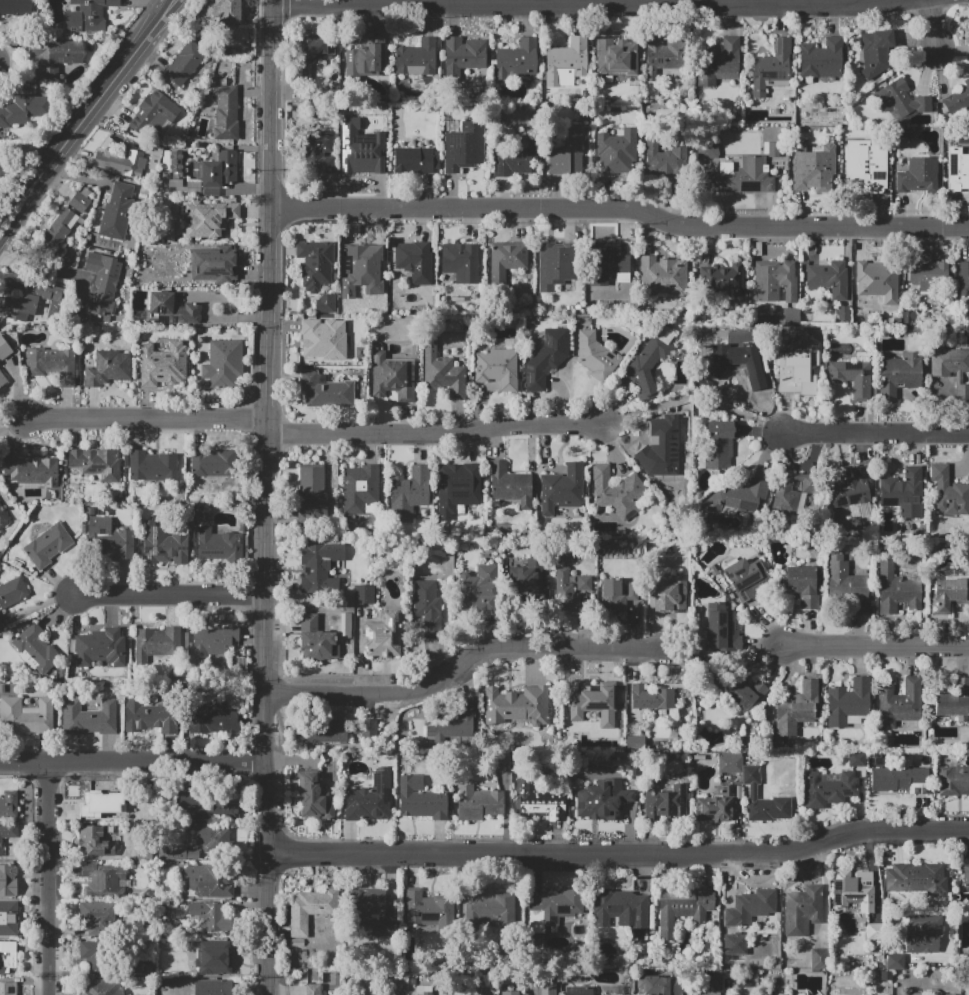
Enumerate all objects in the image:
road: (271, 1)
road: (575, 2)
building: (16, 7)
building: (222, 11)
building: (87, 15)
road: (164, 22)
road: (933, 24)
building: (316, 49)
building: (55, 56)
building: (463, 56)
building: (615, 56)
building: (664, 56)
building: (365, 58)
building: (416, 58)
building: (822, 58)
building: (516, 60)
building: (718, 61)
building: (185, 63)
building: (566, 63)
building: (771, 68)
building: (958, 99)
building: (901, 100)
building: (23, 109)
building: (159, 110)
building: (226, 111)
road: (73, 139)
building: (462, 145)
building: (361, 147)
building: (706, 149)
building: (771, 149)
building: (616, 151)
building: (319, 152)
building: (569, 154)
building: (154, 156)
building: (513, 158)
building: (666, 159)
building: (121, 160)
building: (415, 160)
building: (868, 162)
building: (173, 166)
building: (813, 167)
building: (2, 169)
building: (217, 169)
building: (957, 170)
building: (918, 176)
building: (742, 177)
building: (193, 188)
building: (79, 202)
road: (620, 210)
building: (116, 211)
road: (269, 214)
building: (209, 218)
building: (58, 232)
building: (363, 257)
building: (506, 260)
building: (461, 261)
building: (415, 262)
building: (608, 263)
building: (315, 264)
building: (555, 265)
building: (214, 267)
road: (40, 269)
building: (875, 275)
building: (663, 276)
building: (930, 276)
building: (722, 277)
building: (829, 279)
building: (964, 279)
building: (775, 280)
building: (102, 282)
building: (44, 291)
building: (352, 297)
building: (325, 304)
building: (15, 308)
building: (171, 310)
building: (857, 312)
building: (843, 313)
building: (790, 316)
building: (323, 339)
building: (4, 349)
building: (596, 356)
building: (545, 357)
building: (650, 359)
building: (223, 363)
building: (52, 364)
building: (162, 364)
building: (951, 367)
building: (108, 368)
building: (499, 368)
building: (797, 370)
building: (443, 372)
building: (900, 373)
building: (392, 377)
building: (852, 377)
building: (756, 378)
building: (2, 379)
building: (325, 390)
road: (692, 397)
road: (147, 419)
road: (13, 425)
road: (875, 433)
road: (433, 434)
building: (719, 443)
building: (660, 447)
building: (95, 463)
building: (214, 464)
building: (152, 466)
building: (32, 471)
building: (509, 485)
building: (358, 487)
building: (459, 488)
building: (561, 488)
building: (851, 488)
building: (900, 488)
building: (312, 491)
building: (409, 492)
building: (617, 492)
building: (948, 492)
building: (791, 496)
building: (743, 497)
building: (3, 518)
building: (109, 540)
building: (163, 541)
building: (47, 545)
building: (219, 545)
building: (320, 566)
building: (742, 578)
building: (522, 582)
building: (846, 583)
building: (805, 585)
building: (570, 587)
building: (477, 589)
building: (897, 590)
building: (12, 592)
building: (364, 594)
building: (617, 594)
building: (948, 594)
road: (169, 596)
building: (667, 597)
building: (428, 608)
building: (0, 623)
building: (721, 628)
building: (317, 638)
building: (376, 638)
building: (214, 641)
building: (156, 643)
road: (877, 646)
building: (101, 647)
building: (36, 649)
road: (464, 661)
road: (728, 662)
building: (746, 693)
building: (651, 698)
building: (953, 701)
building: (848, 702)
building: (594, 703)
building: (899, 703)
building: (517, 705)
building: (797, 708)
road: (265, 711)
building: (26, 715)
building: (150, 715)
building: (89, 717)
building: (212, 719)
building: (454, 726)
building: (364, 727)
building: (321, 732)
building: (634, 743)
building: (857, 759)
building: (730, 763)
road: (133, 764)
building: (900, 780)
building: (953, 780)
building: (829, 788)
building: (753, 791)
building: (315, 797)
building: (370, 799)
building: (421, 799)
building: (603, 800)
building: (540, 802)
building: (666, 802)
building: (102, 803)
building: (478, 803)
building: (8, 804)
building: (207, 805)
building: (716, 806)
building: (7, 833)
building: (210, 837)
building: (92, 840)
building: (176, 853)
road: (619, 854)
building: (914, 876)
building: (966, 876)
road: (48, 879)
building: (211, 879)
building: (8, 880)
building: (104, 880)
building: (853, 889)
building: (367, 903)
building: (753, 905)
building: (486, 907)
building: (427, 908)
building: (554, 908)
building: (310, 909)
building: (683, 910)
building: (802, 910)
building: (621, 911)
building: (97, 917)
building: (211, 917)
building: (8, 918)
building: (388, 928)
building: (873, 931)
building: (923, 933)
building: (961, 937)
building: (731, 942)
building: (91, 953)
building: (216, 955)
building: (7, 956)
building: (818, 958)
building: (895, 961)
road: (947, 962)
building: (410, 973)
building: (885, 975)
building: (328, 980)
building: (779, 980)
building: (742, 982)
building: (659, 985)
building: (614, 986)
building: (99, 987)
building: (213, 987)
building: (7, 989)
building: (310, 989)
building: (422, 990)
building: (577, 991)
building: (508, 992)
building: (708, 993)
building: (447, 994)

